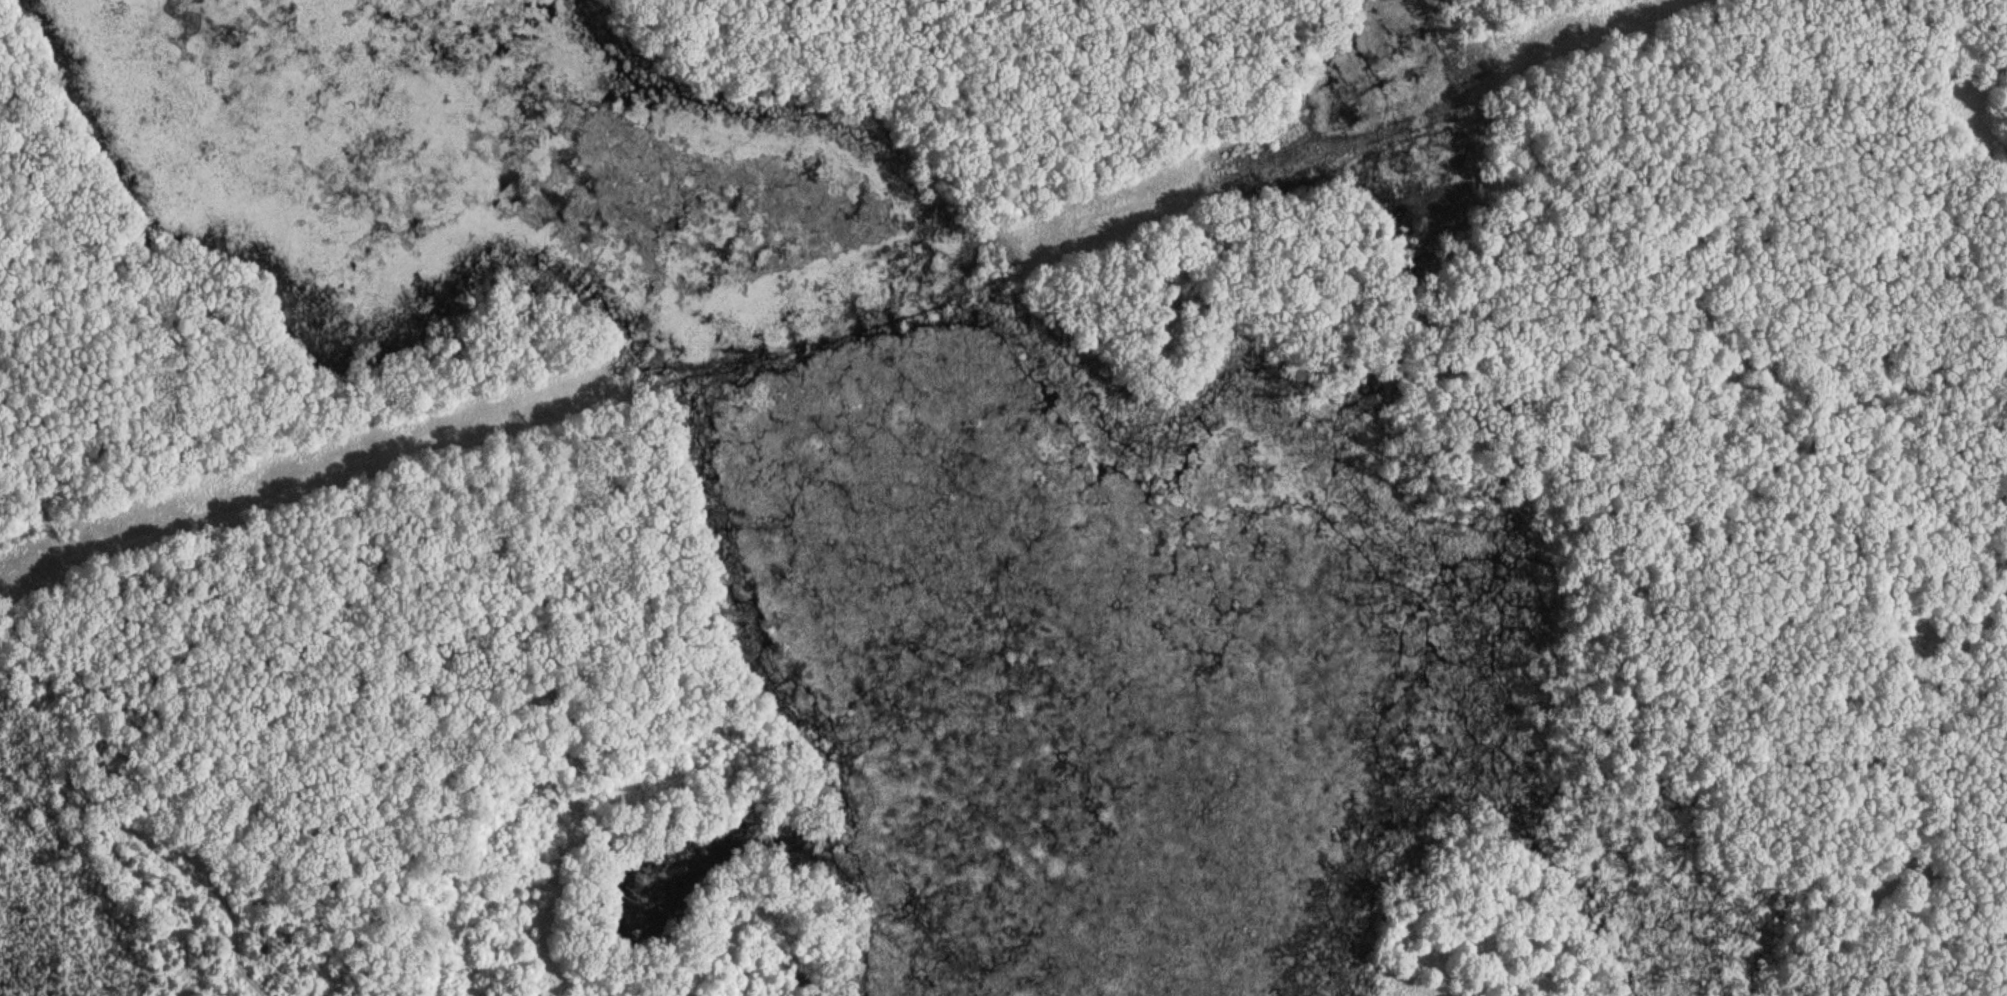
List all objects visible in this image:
road: (106, 748)

